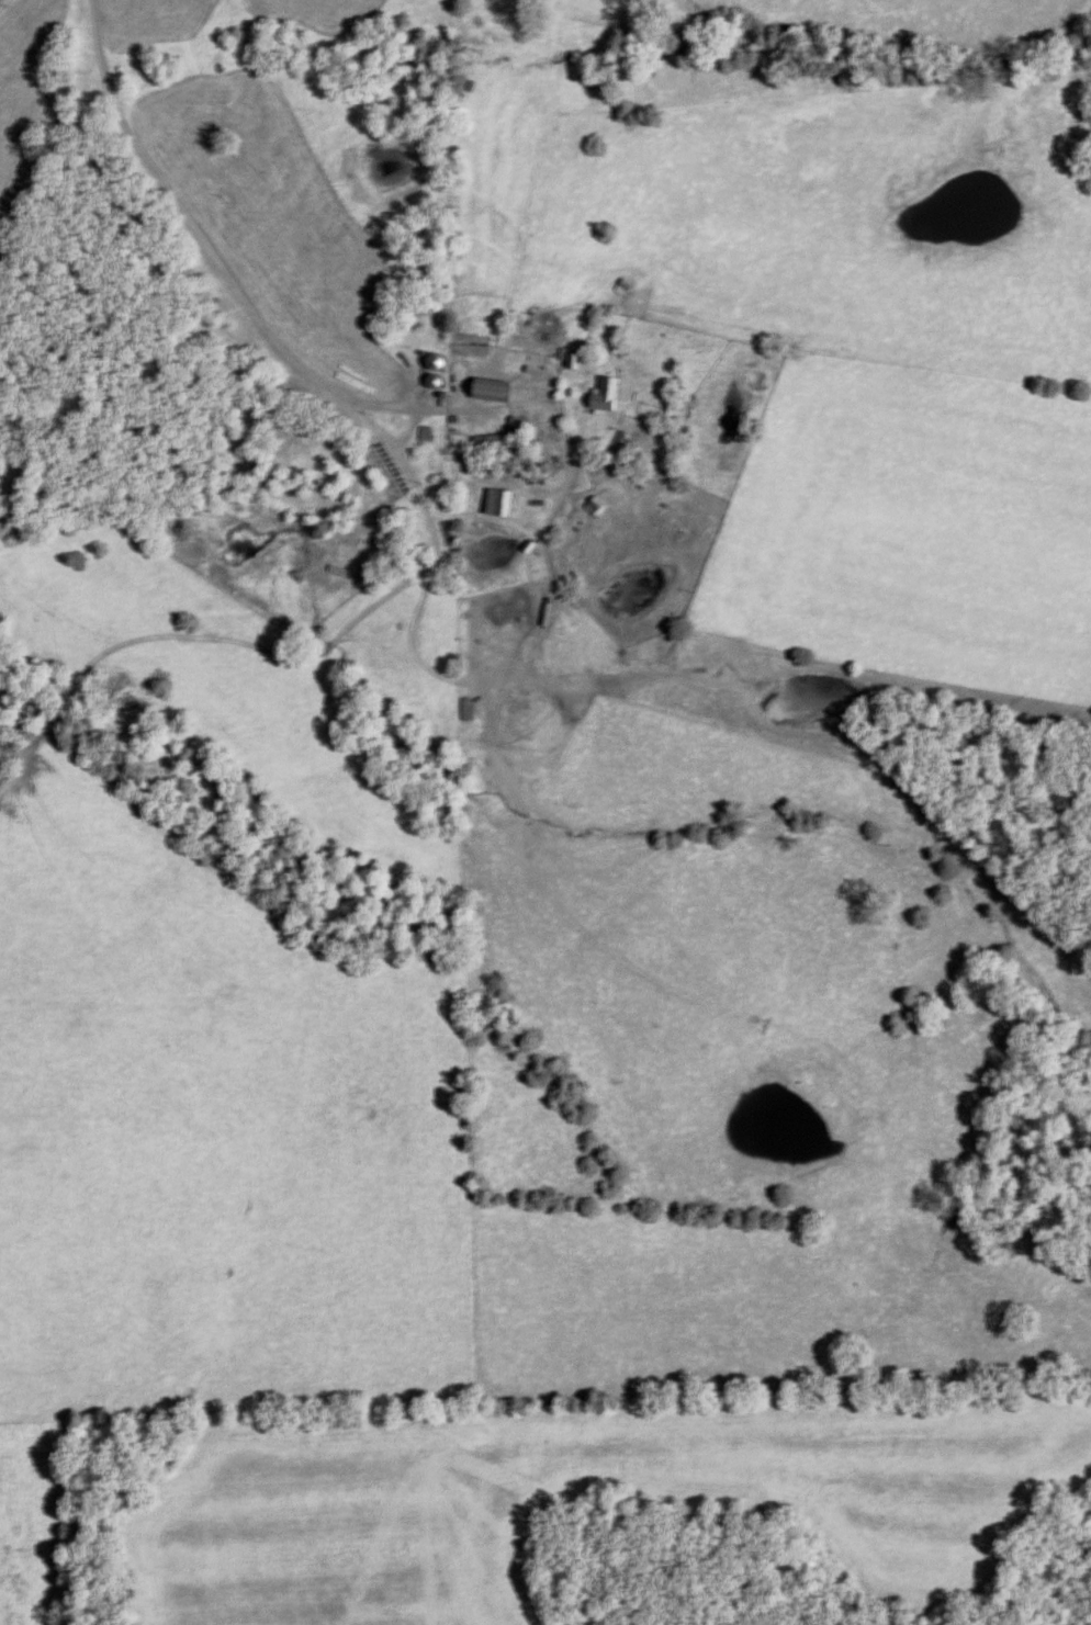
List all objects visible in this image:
road: (180, 213)
building: (439, 360)
building: (496, 388)
building: (609, 394)
building: (679, 408)
road: (401, 429)
building: (497, 443)
building: (503, 500)
building: (342, 571)
building: (468, 708)

